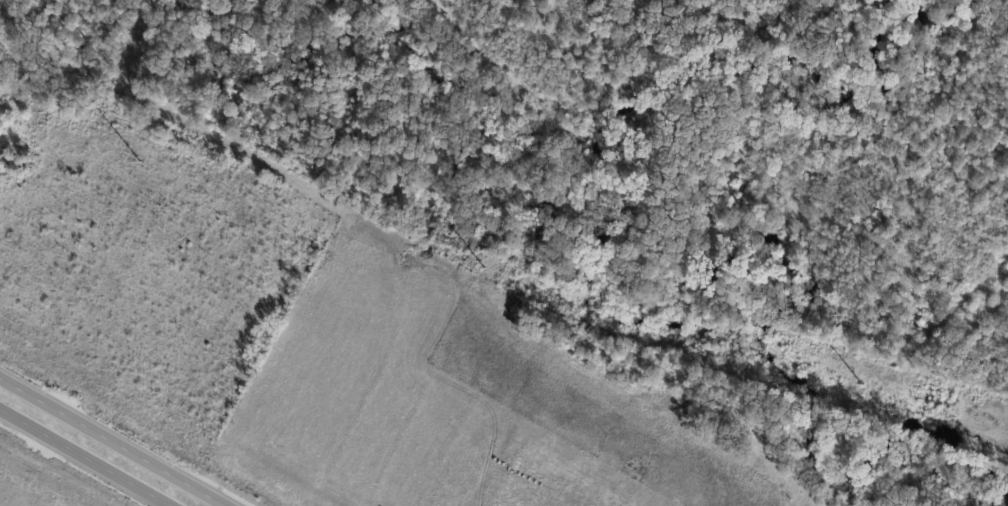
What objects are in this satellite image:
road: (113, 442)
road: (83, 459)

